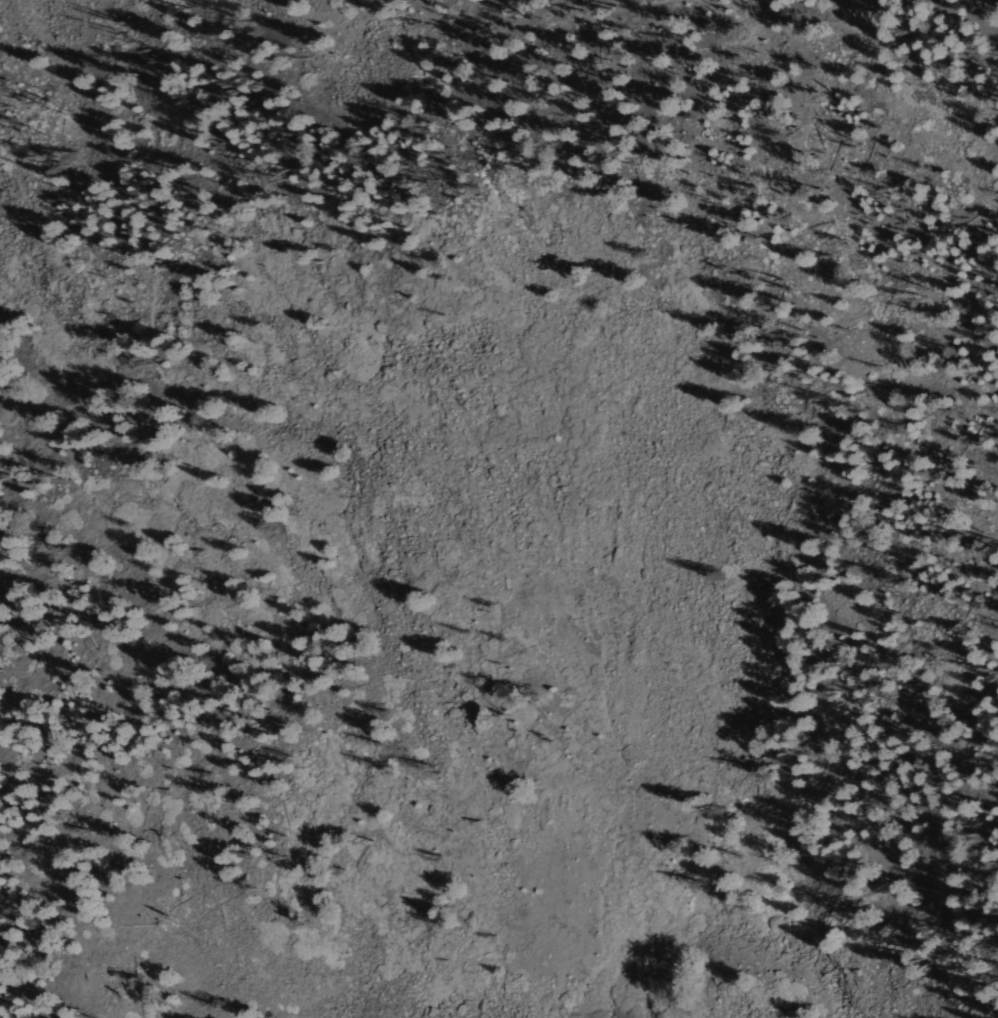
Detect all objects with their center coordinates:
road: (854, 28)
road: (272, 167)

